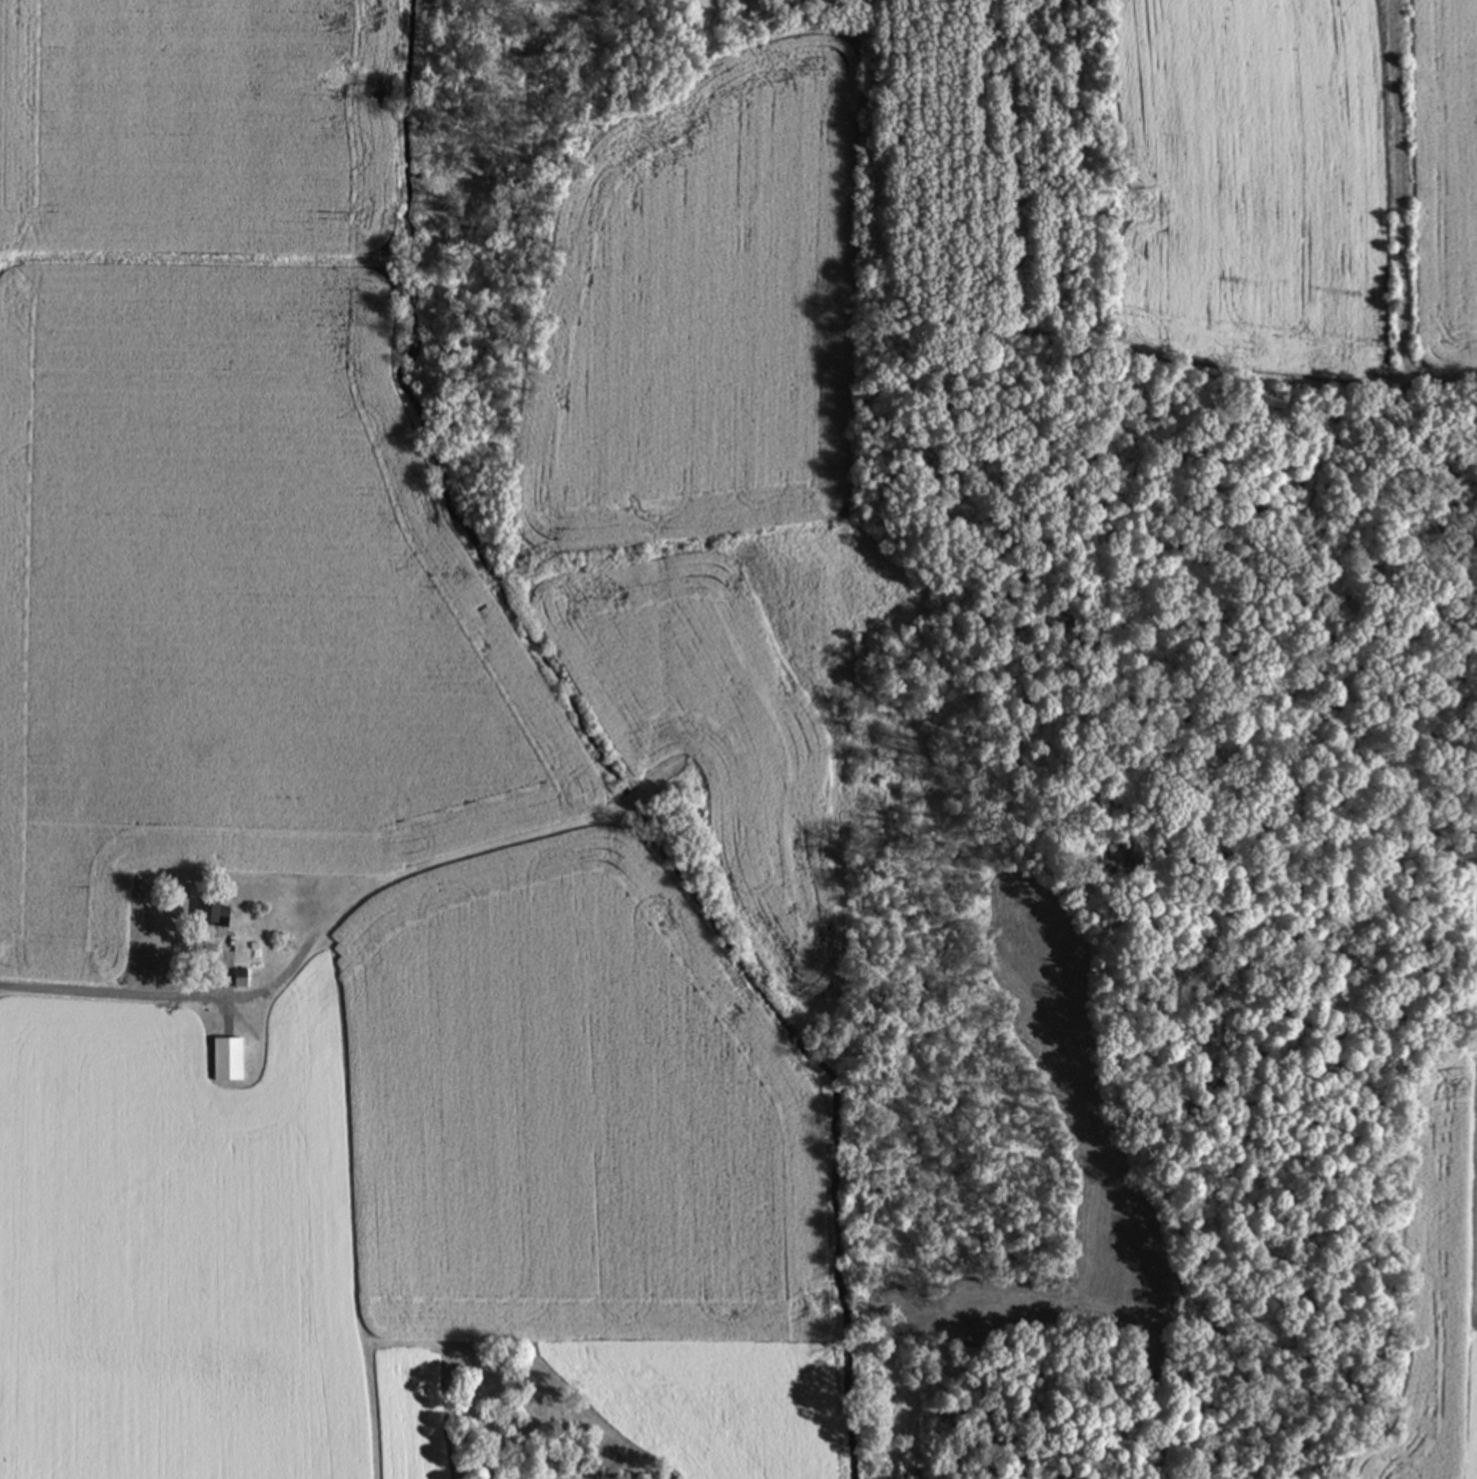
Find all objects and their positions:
building: (214, 917)
building: (241, 981)
road: (111, 999)
building: (228, 1062)

